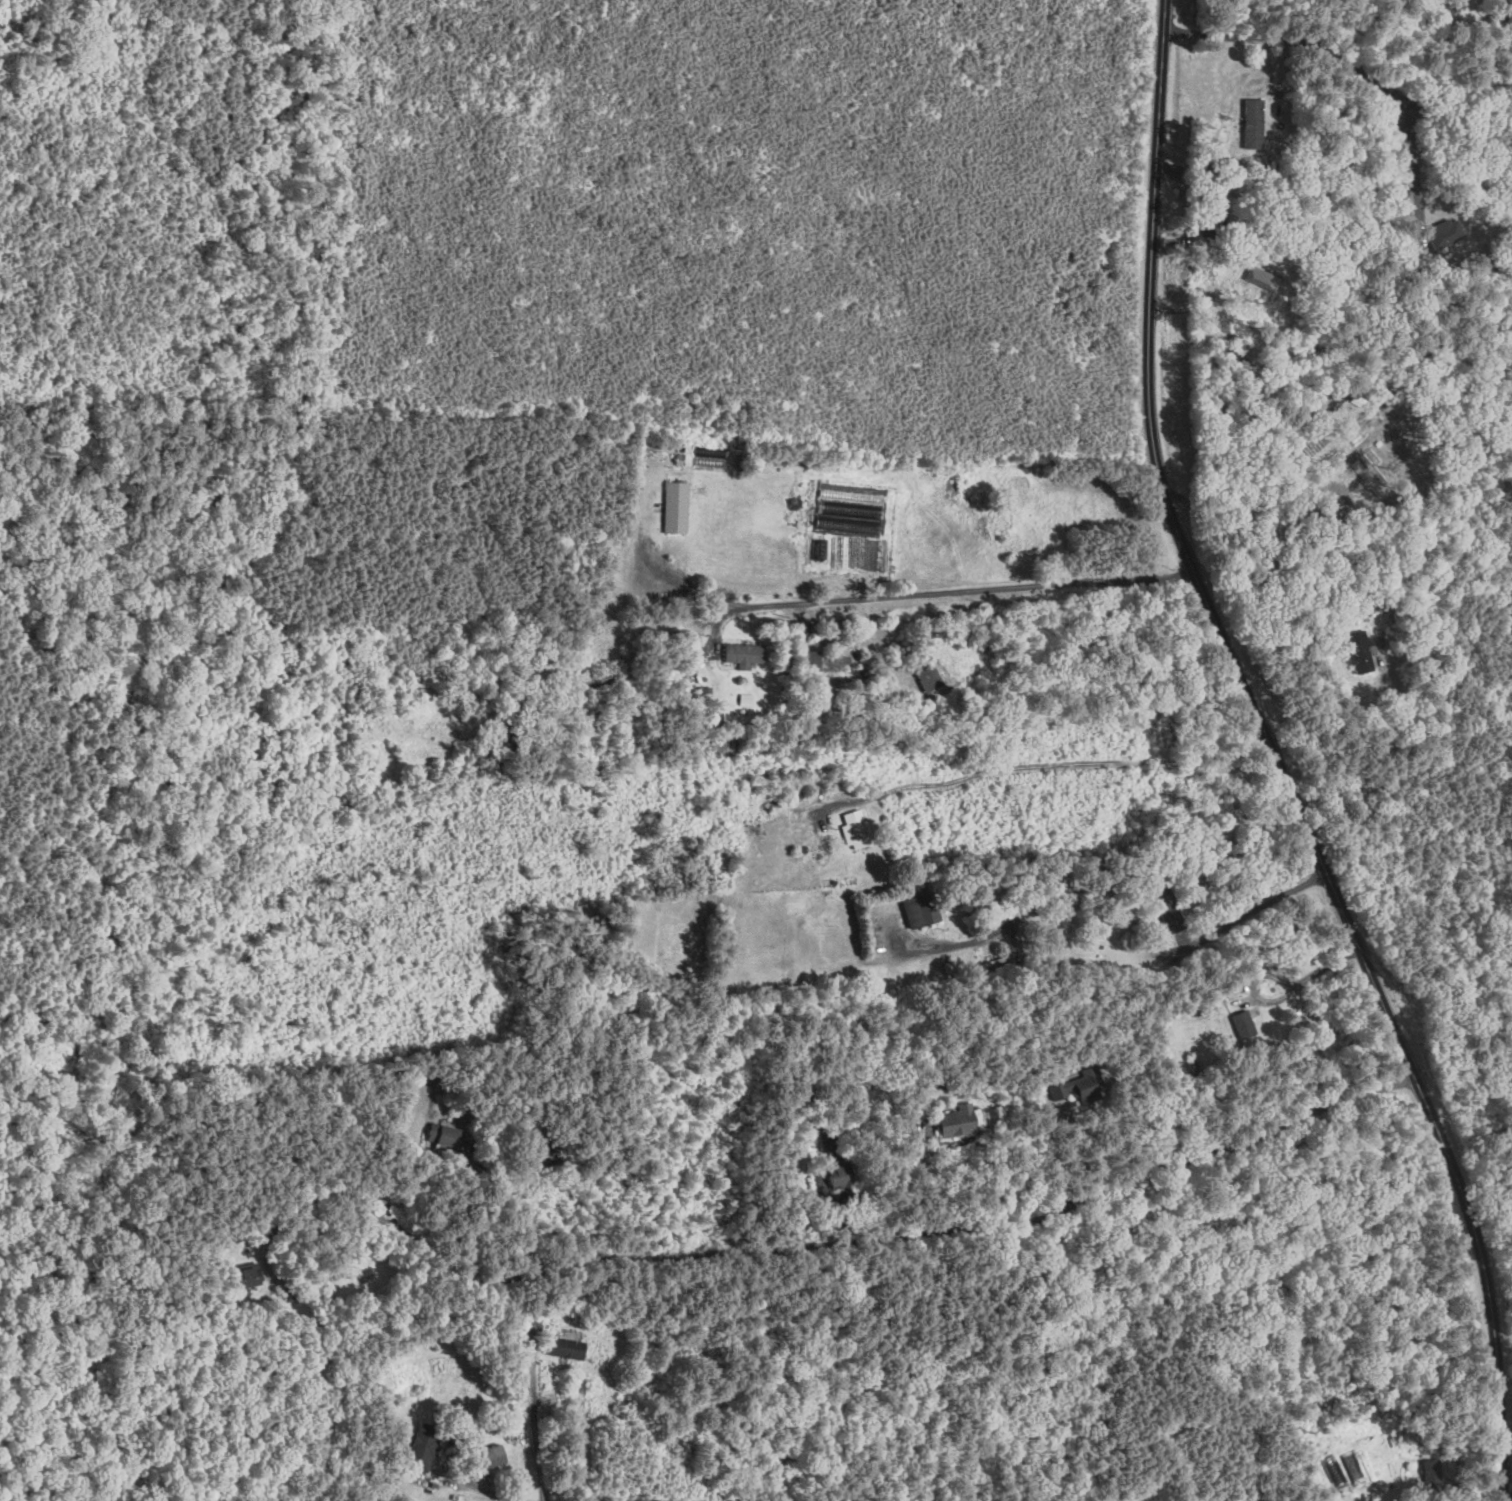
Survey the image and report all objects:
road: (1295, 40)
road: (1436, 56)
building: (1255, 125)
road: (1412, 157)
road: (1216, 163)
building: (1259, 276)
building: (682, 450)
building: (1371, 477)
building: (677, 507)
building: (849, 518)
road: (948, 591)
building: (748, 655)
building: (1365, 661)
building: (747, 699)
road: (1276, 759)
road: (1060, 764)
building: (858, 829)
building: (921, 910)
road: (962, 925)
road: (1276, 975)
building: (1245, 1024)
building: (961, 1120)
road: (886, 1228)
building: (252, 1275)
building: (569, 1348)
road: (537, 1437)
building: (427, 1444)
building: (499, 1455)
road: (480, 1490)

